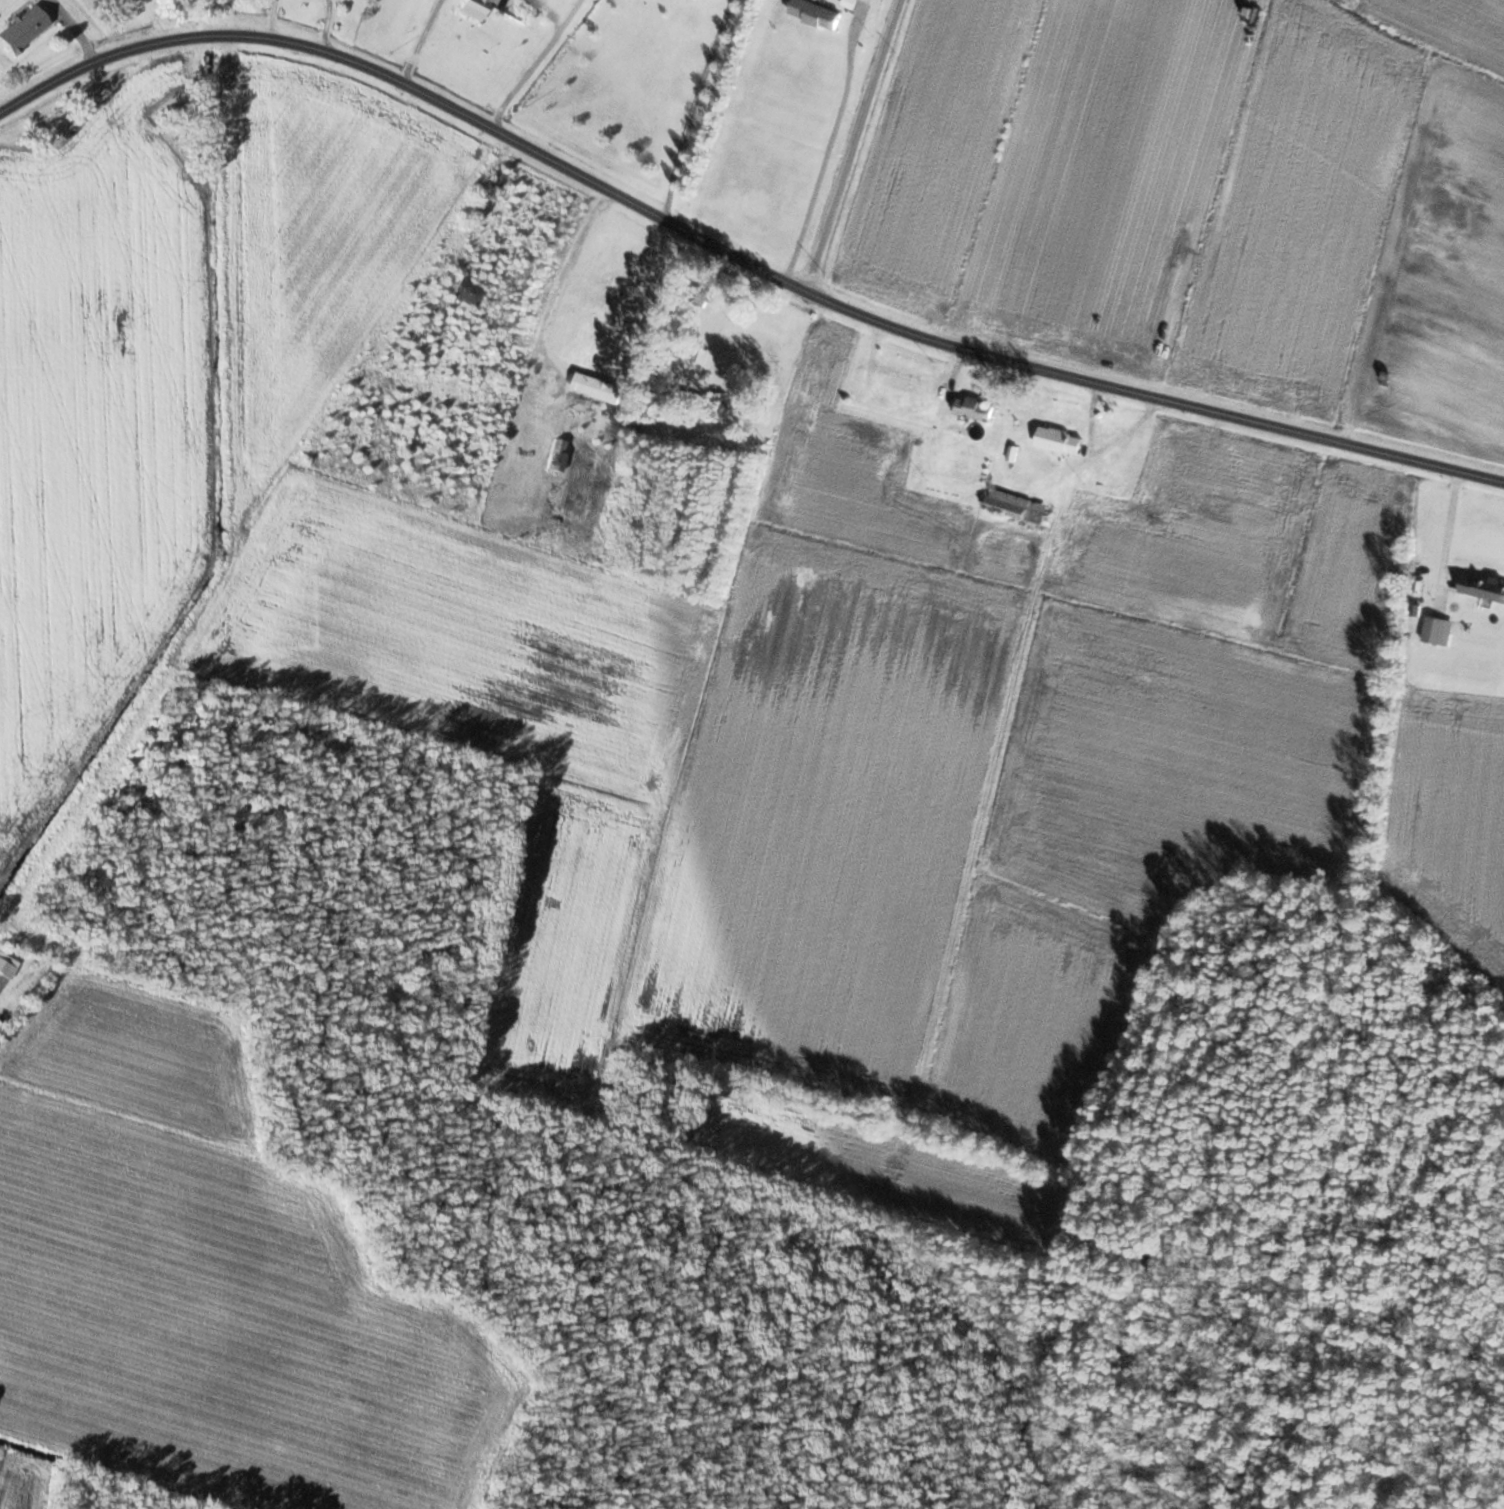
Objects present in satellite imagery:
building: (475, 8)
building: (817, 15)
building: (23, 29)
road: (71, 30)
road: (689, 105)
road: (852, 142)
building: (497, 178)
road: (732, 248)
road: (559, 278)
building: (462, 289)
building: (763, 353)
building: (702, 354)
building: (608, 374)
building: (976, 409)
building: (1112, 412)
building: (1061, 441)
building: (558, 455)
building: (1399, 500)
building: (1483, 586)

